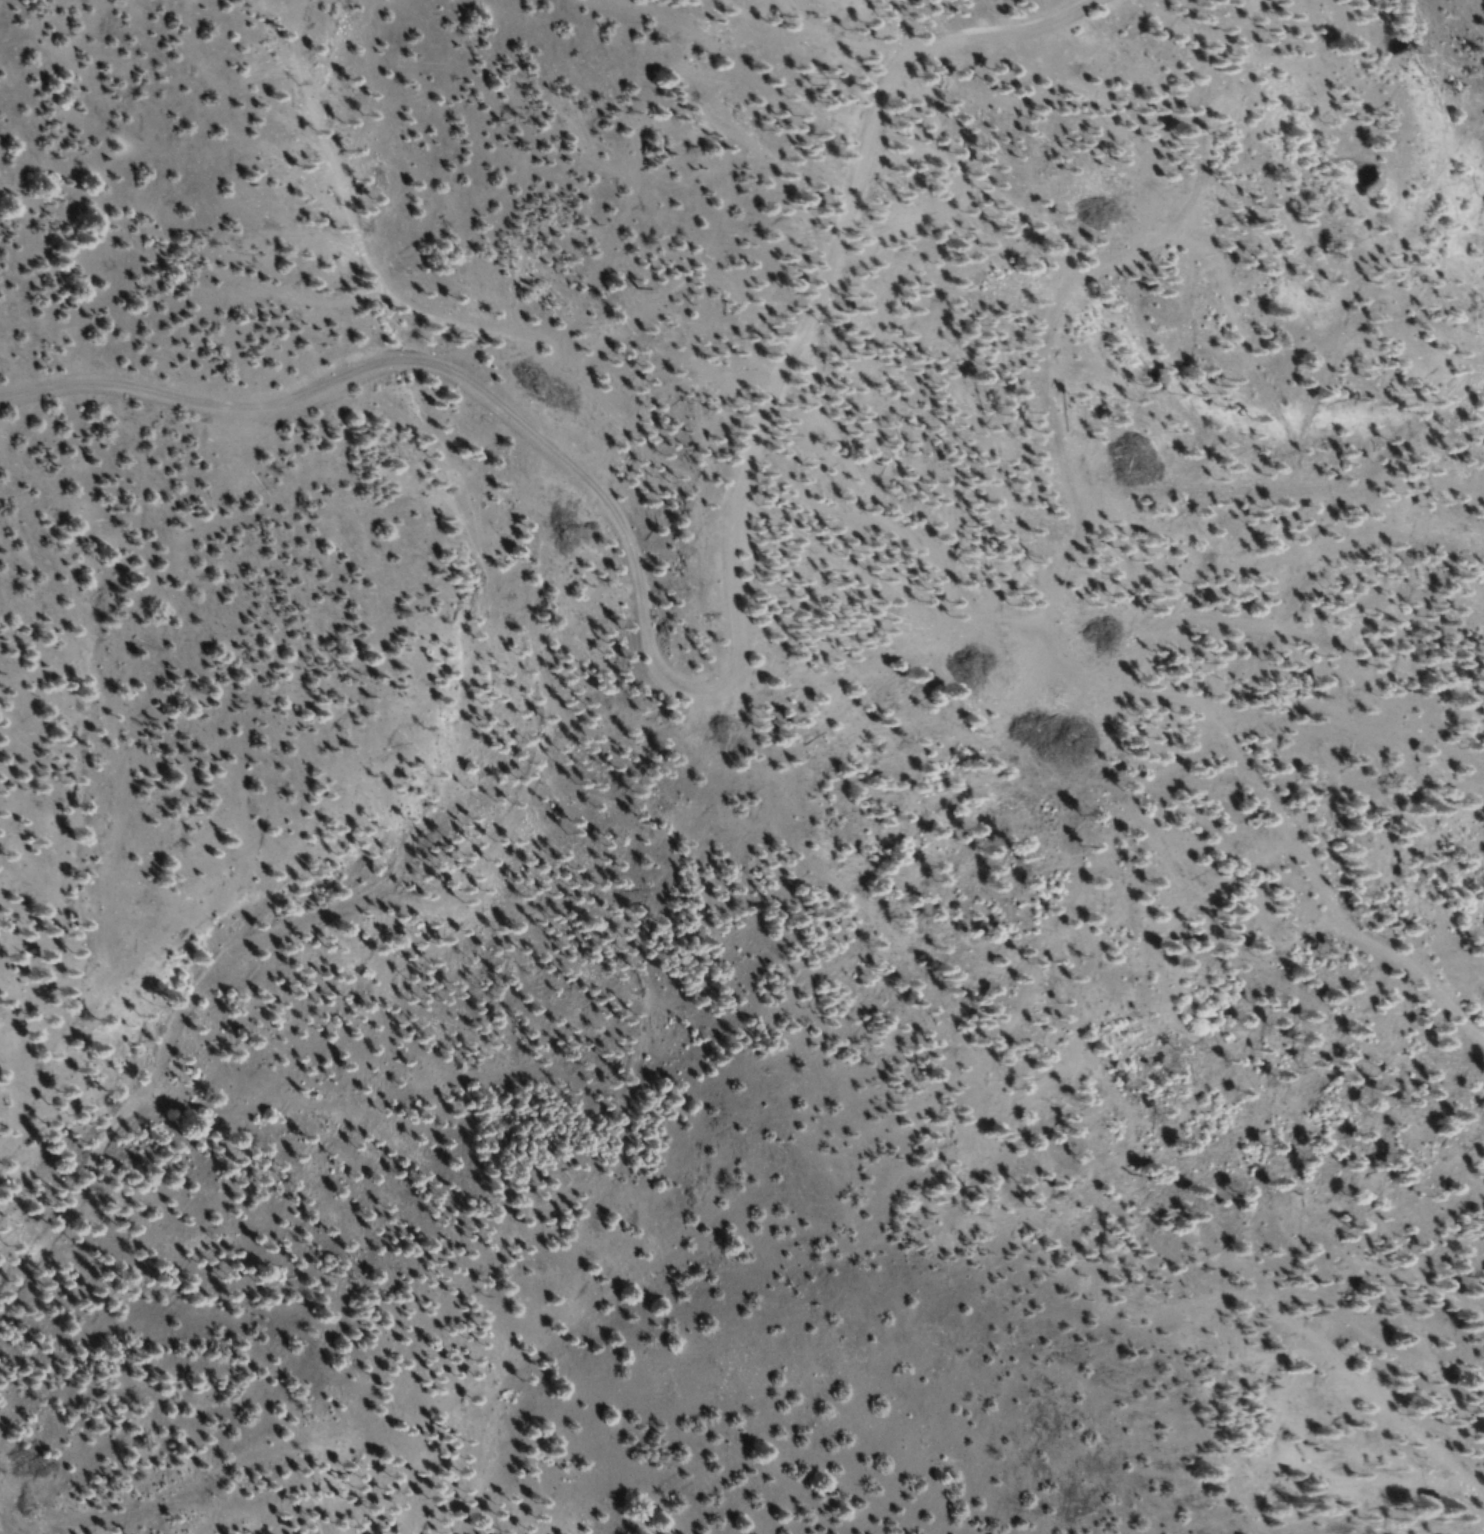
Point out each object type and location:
road: (688, 699)

